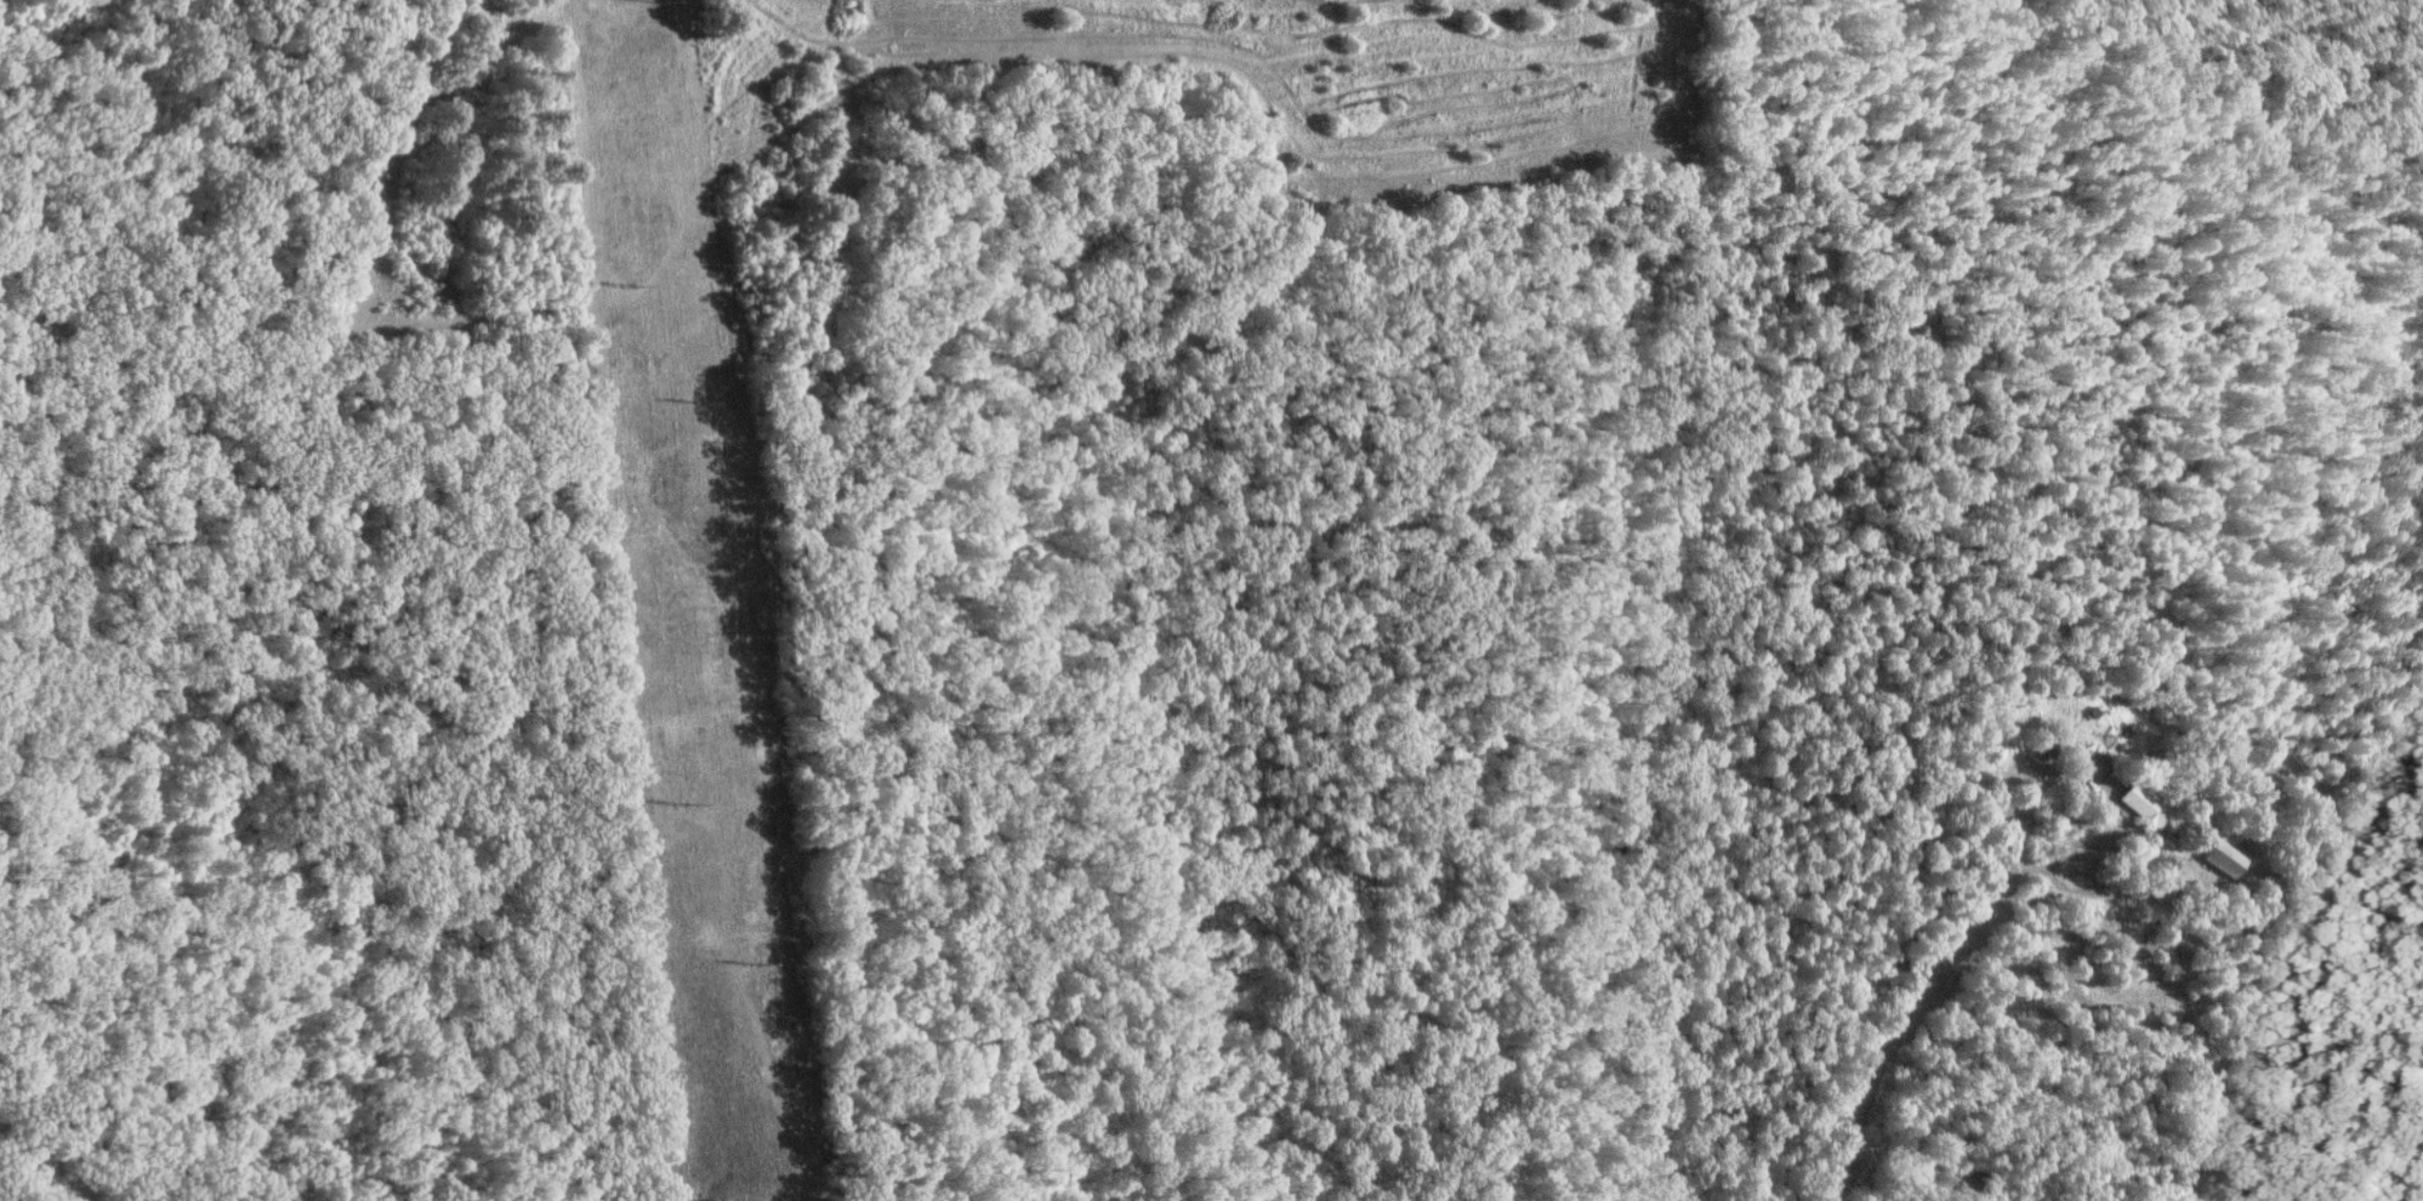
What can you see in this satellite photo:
building: (2142, 803)
building: (2222, 858)
road: (1913, 991)

